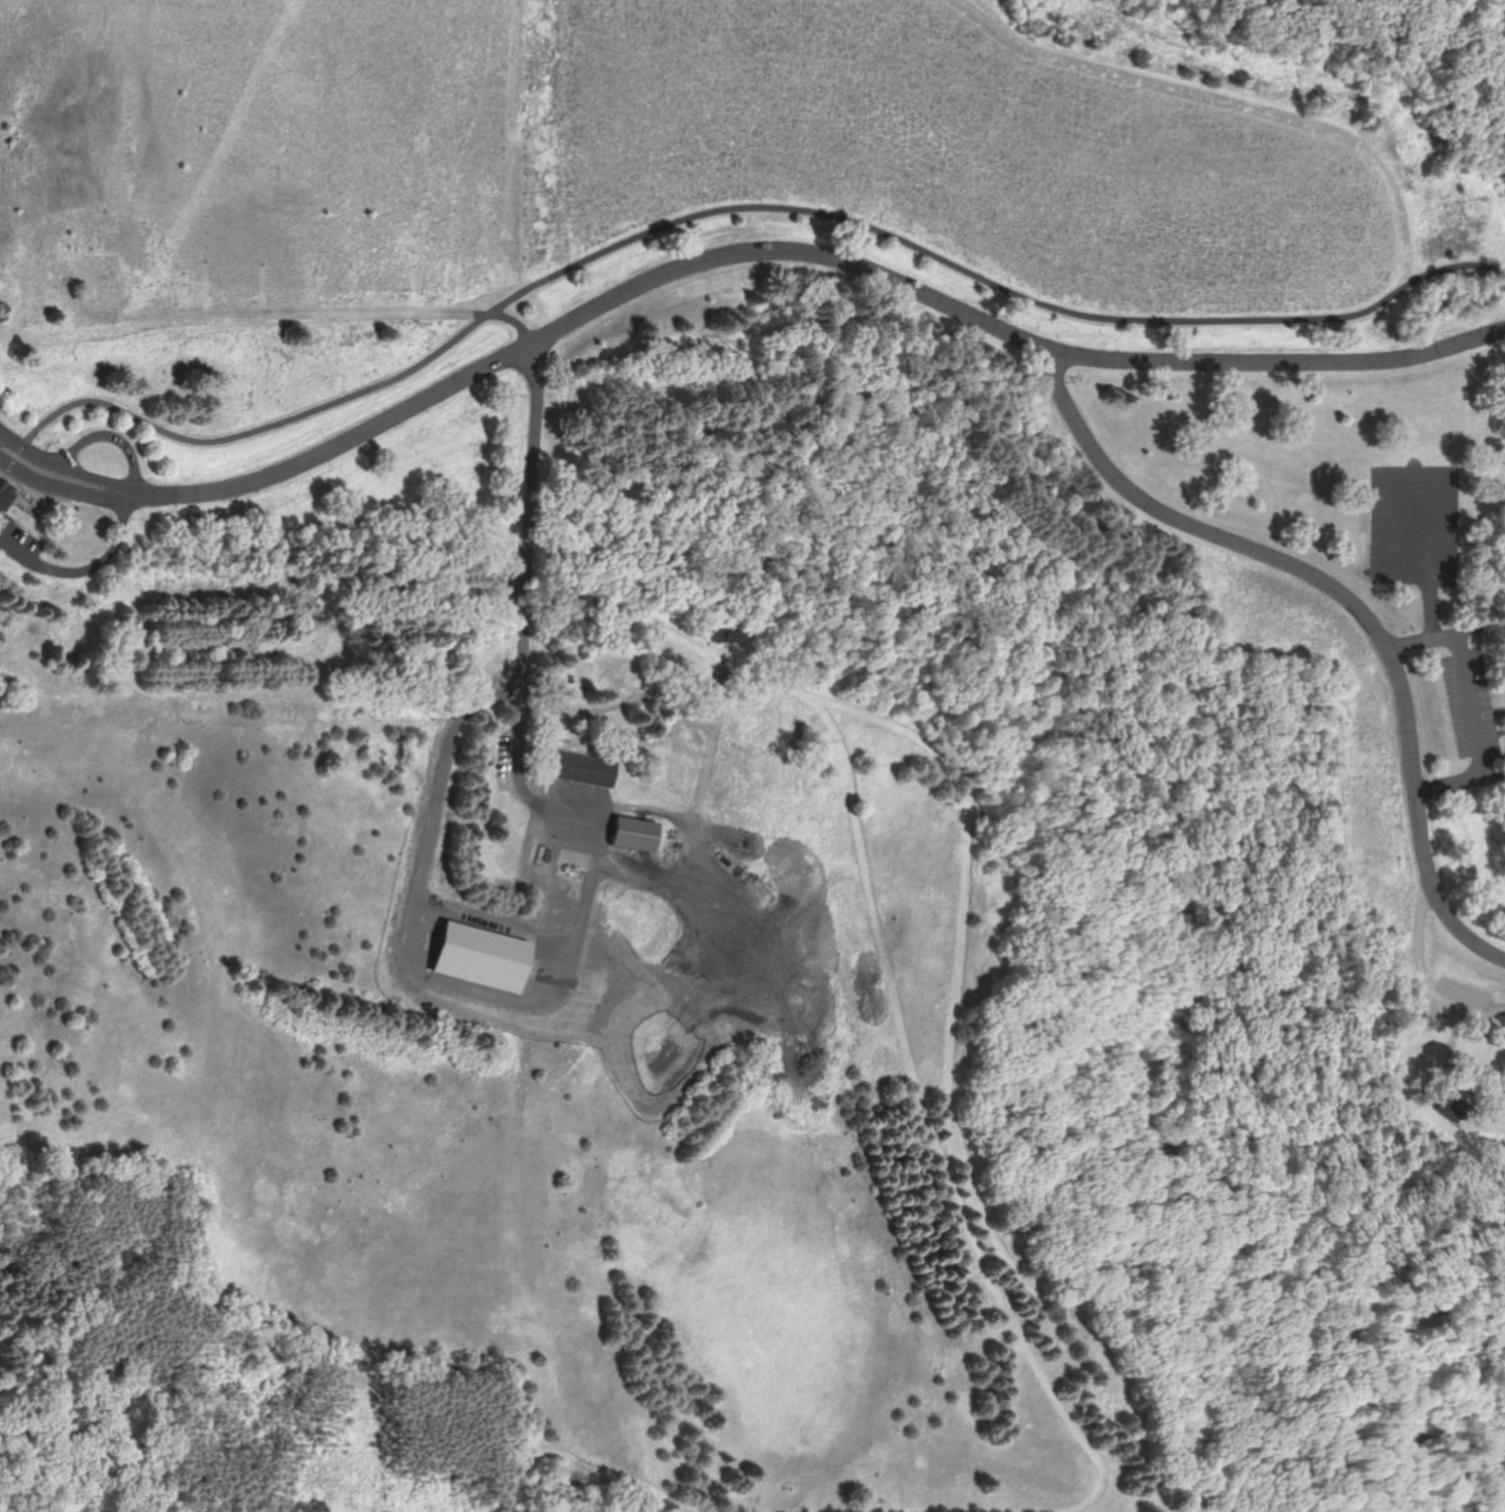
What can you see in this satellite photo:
road: (1011, 331)
road: (107, 436)
road: (276, 472)
building: (5, 492)
road: (85, 570)
road: (1353, 602)
road: (524, 605)
road: (1482, 636)
building: (730, 637)
road: (1473, 697)
parking lot: (1471, 701)
park: (752, 756)
building: (584, 770)
building: (636, 835)
road: (1429, 976)

